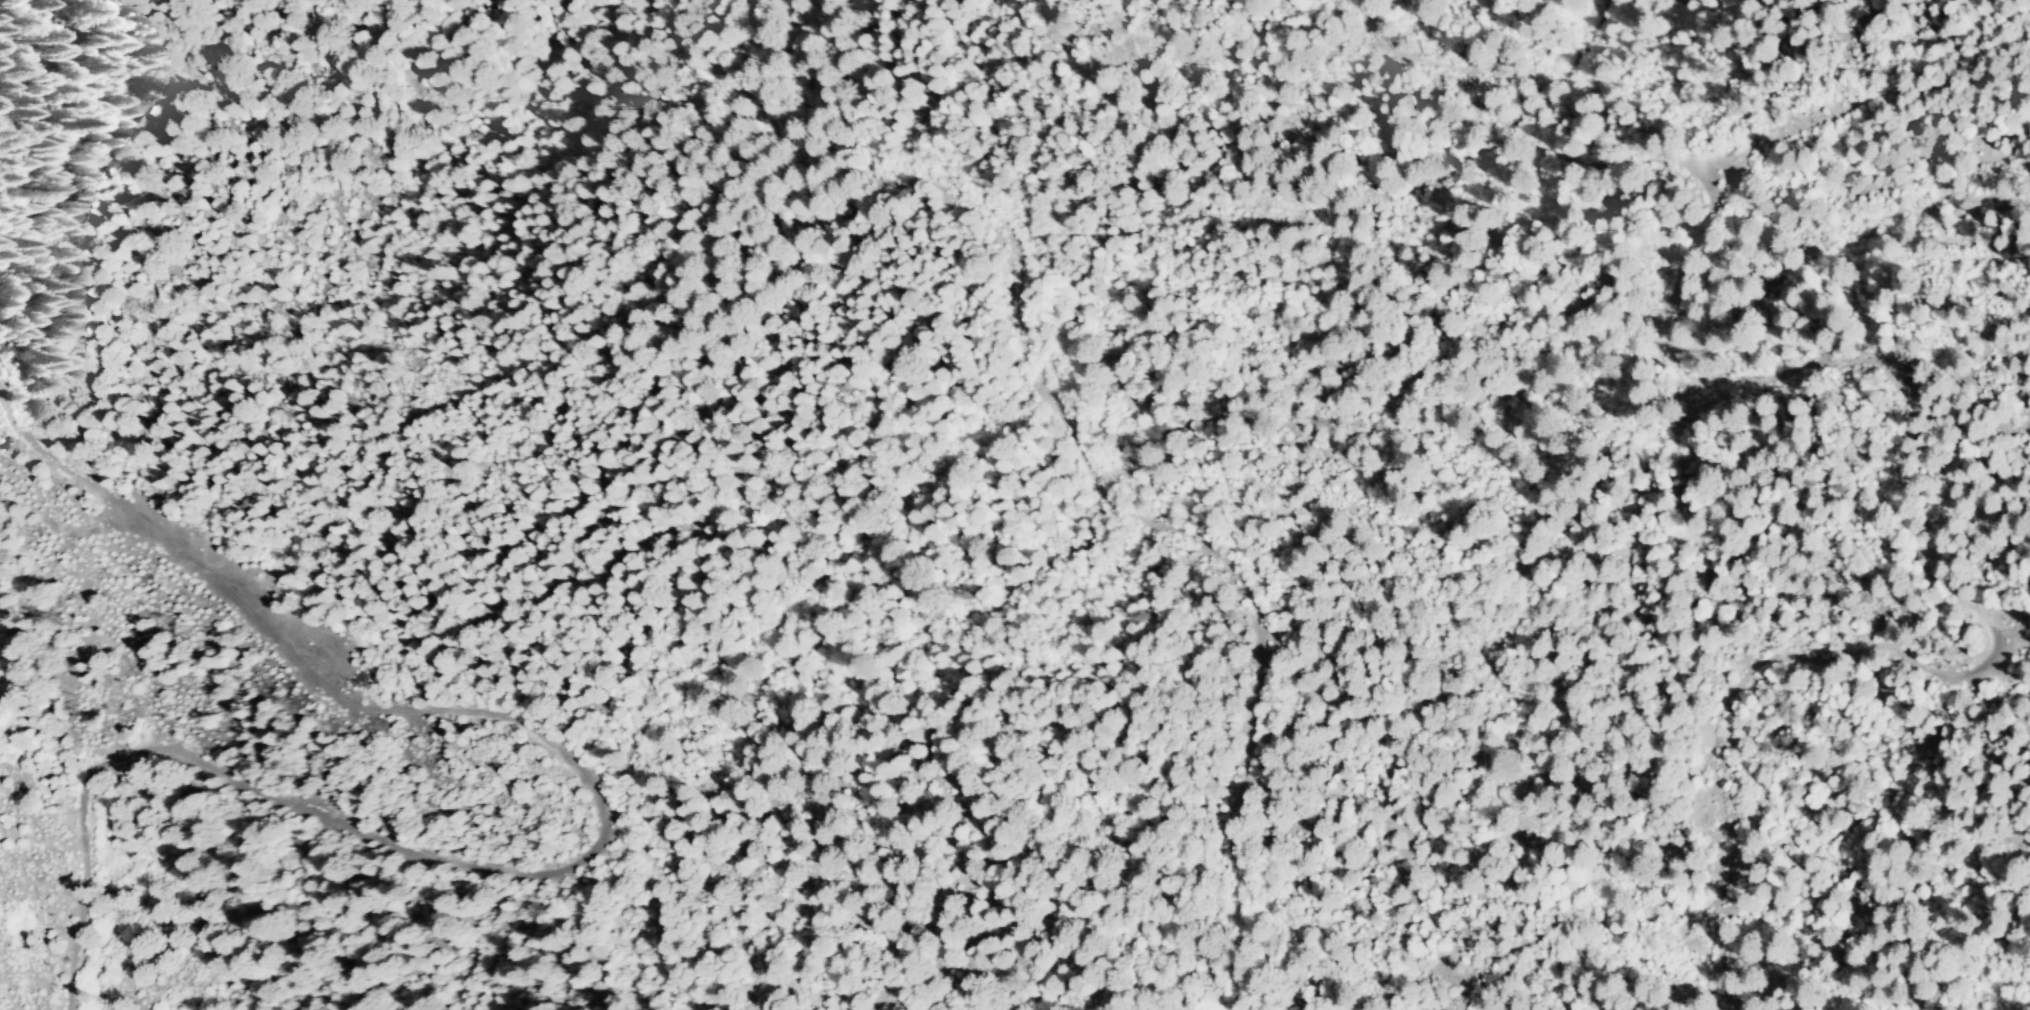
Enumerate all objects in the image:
road: (1686, 688)

